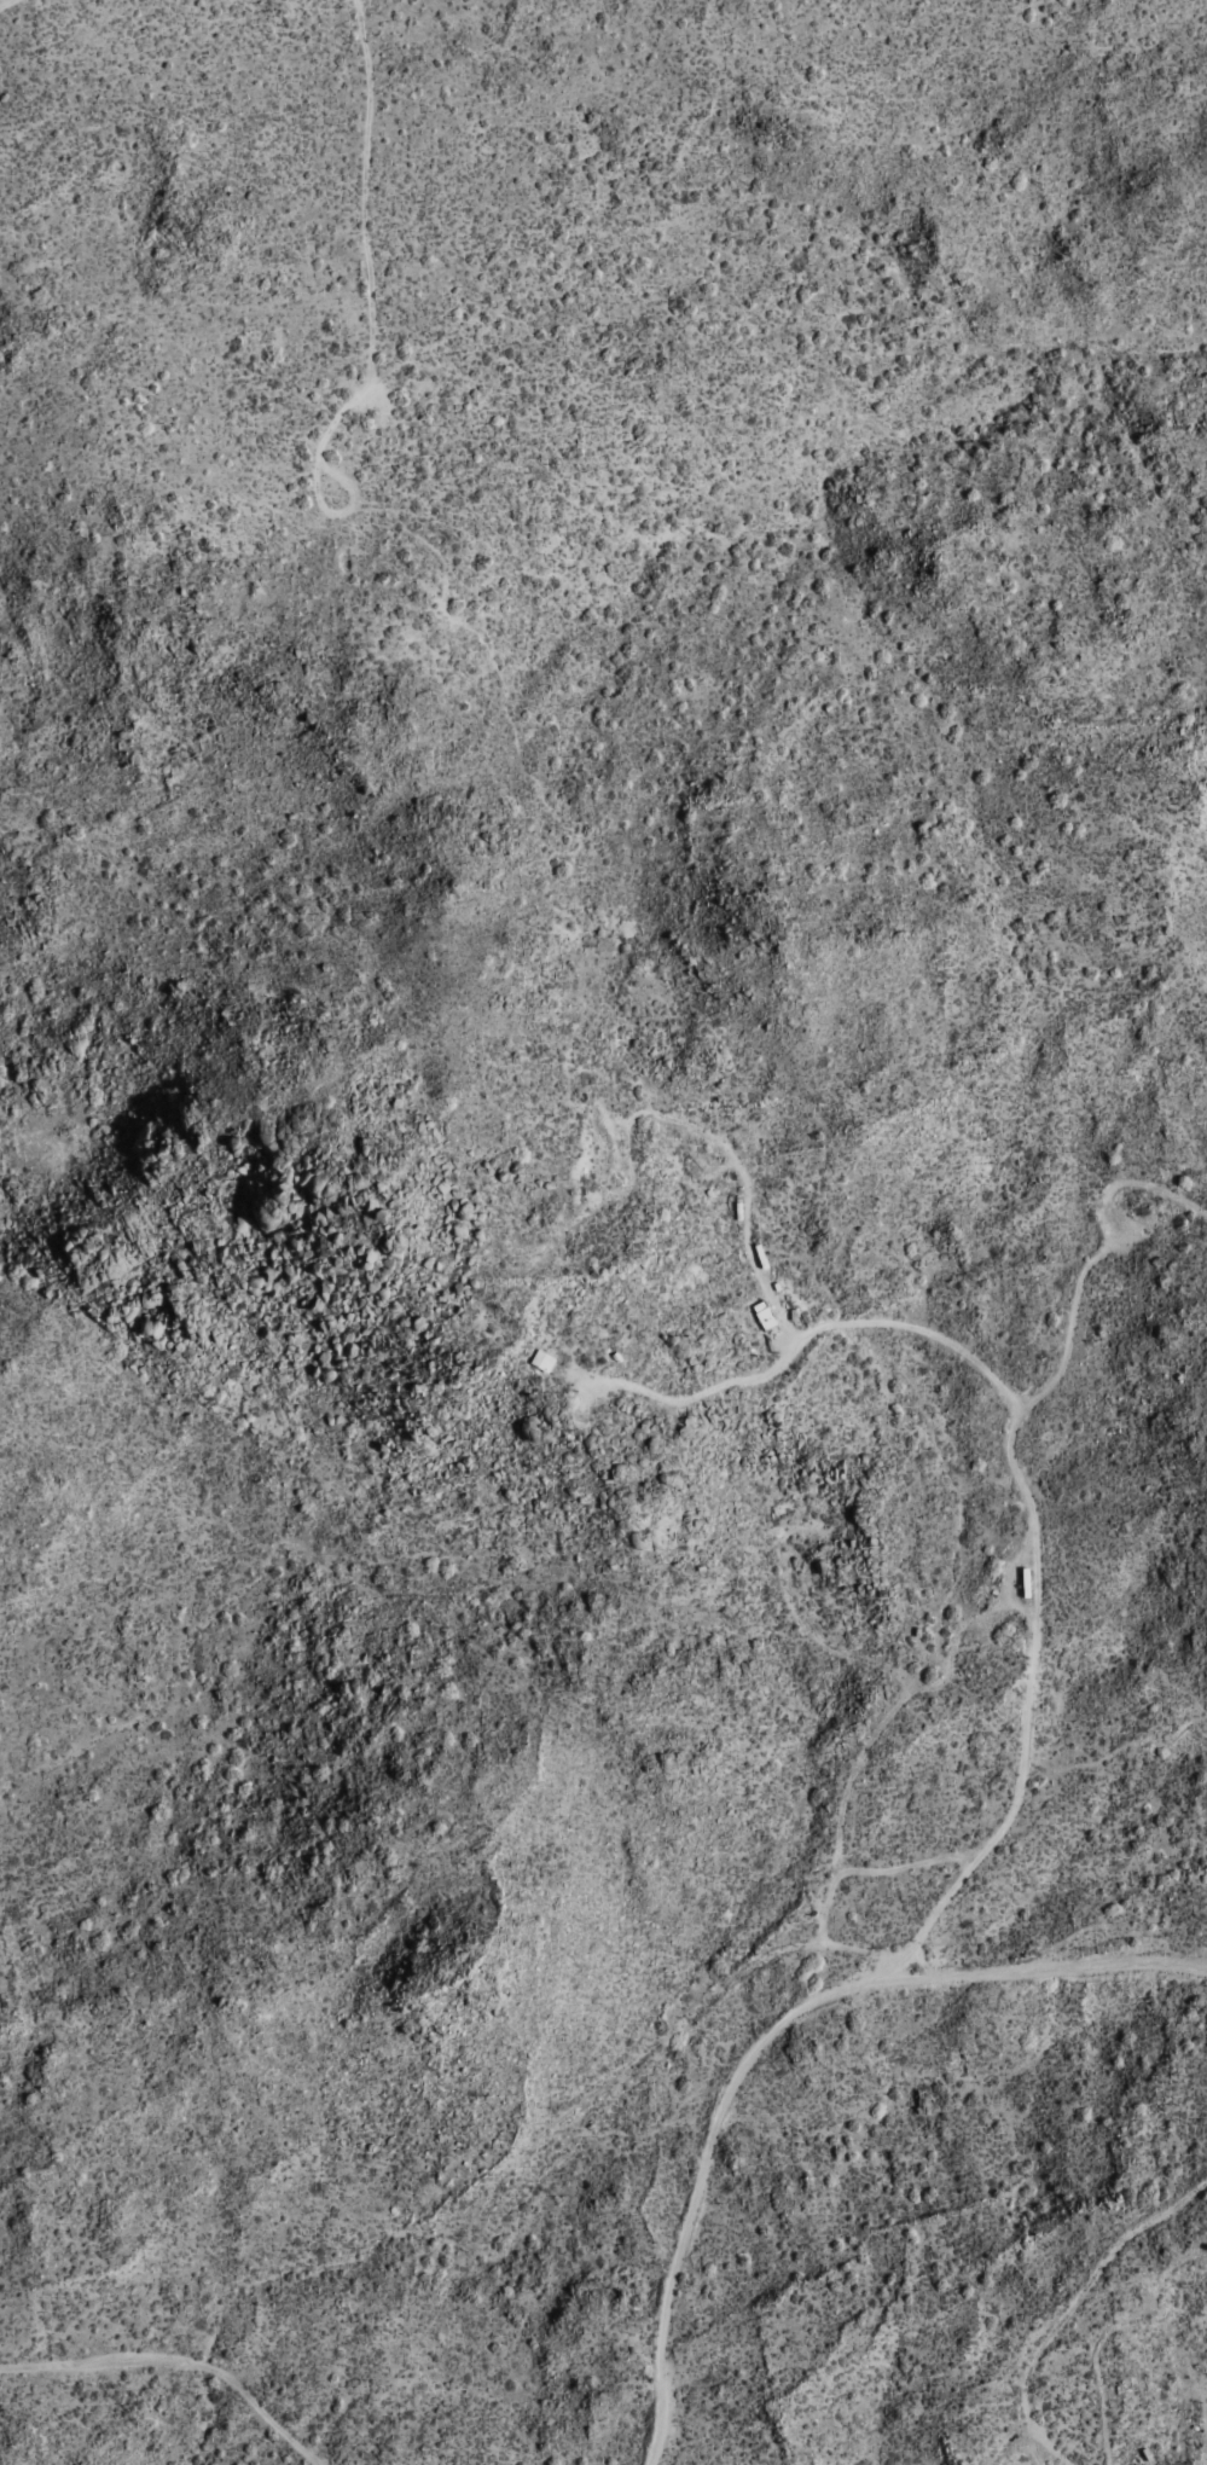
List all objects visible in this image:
road: (11, 0)
road: (7, 4)
road: (367, 238)
road: (346, 509)
road: (176, 2360)

